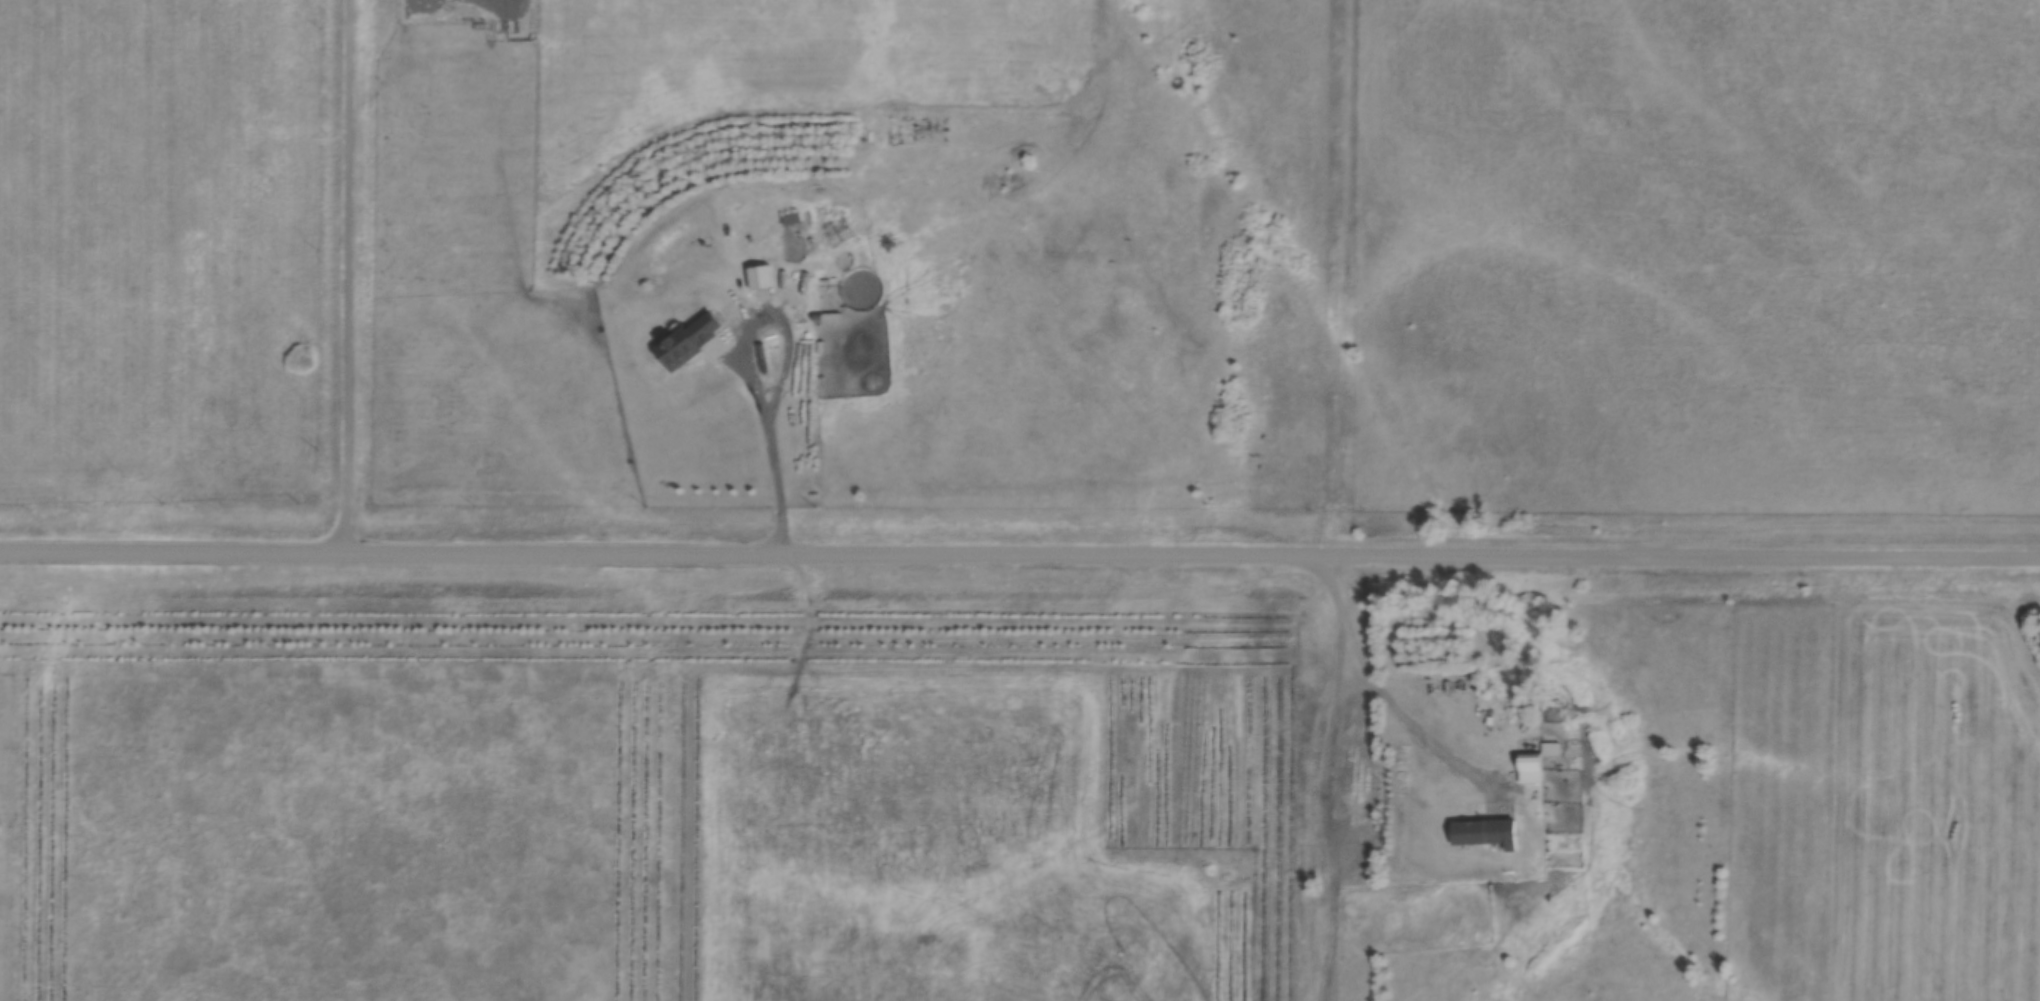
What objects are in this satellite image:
building: (791, 220)
building: (794, 245)
road: (346, 274)
road: (1341, 277)
building: (760, 281)
building: (688, 342)
road: (773, 446)
road: (1020, 552)
road: (1388, 698)
building: (1535, 762)
road: (1326, 792)
building: (1485, 831)

